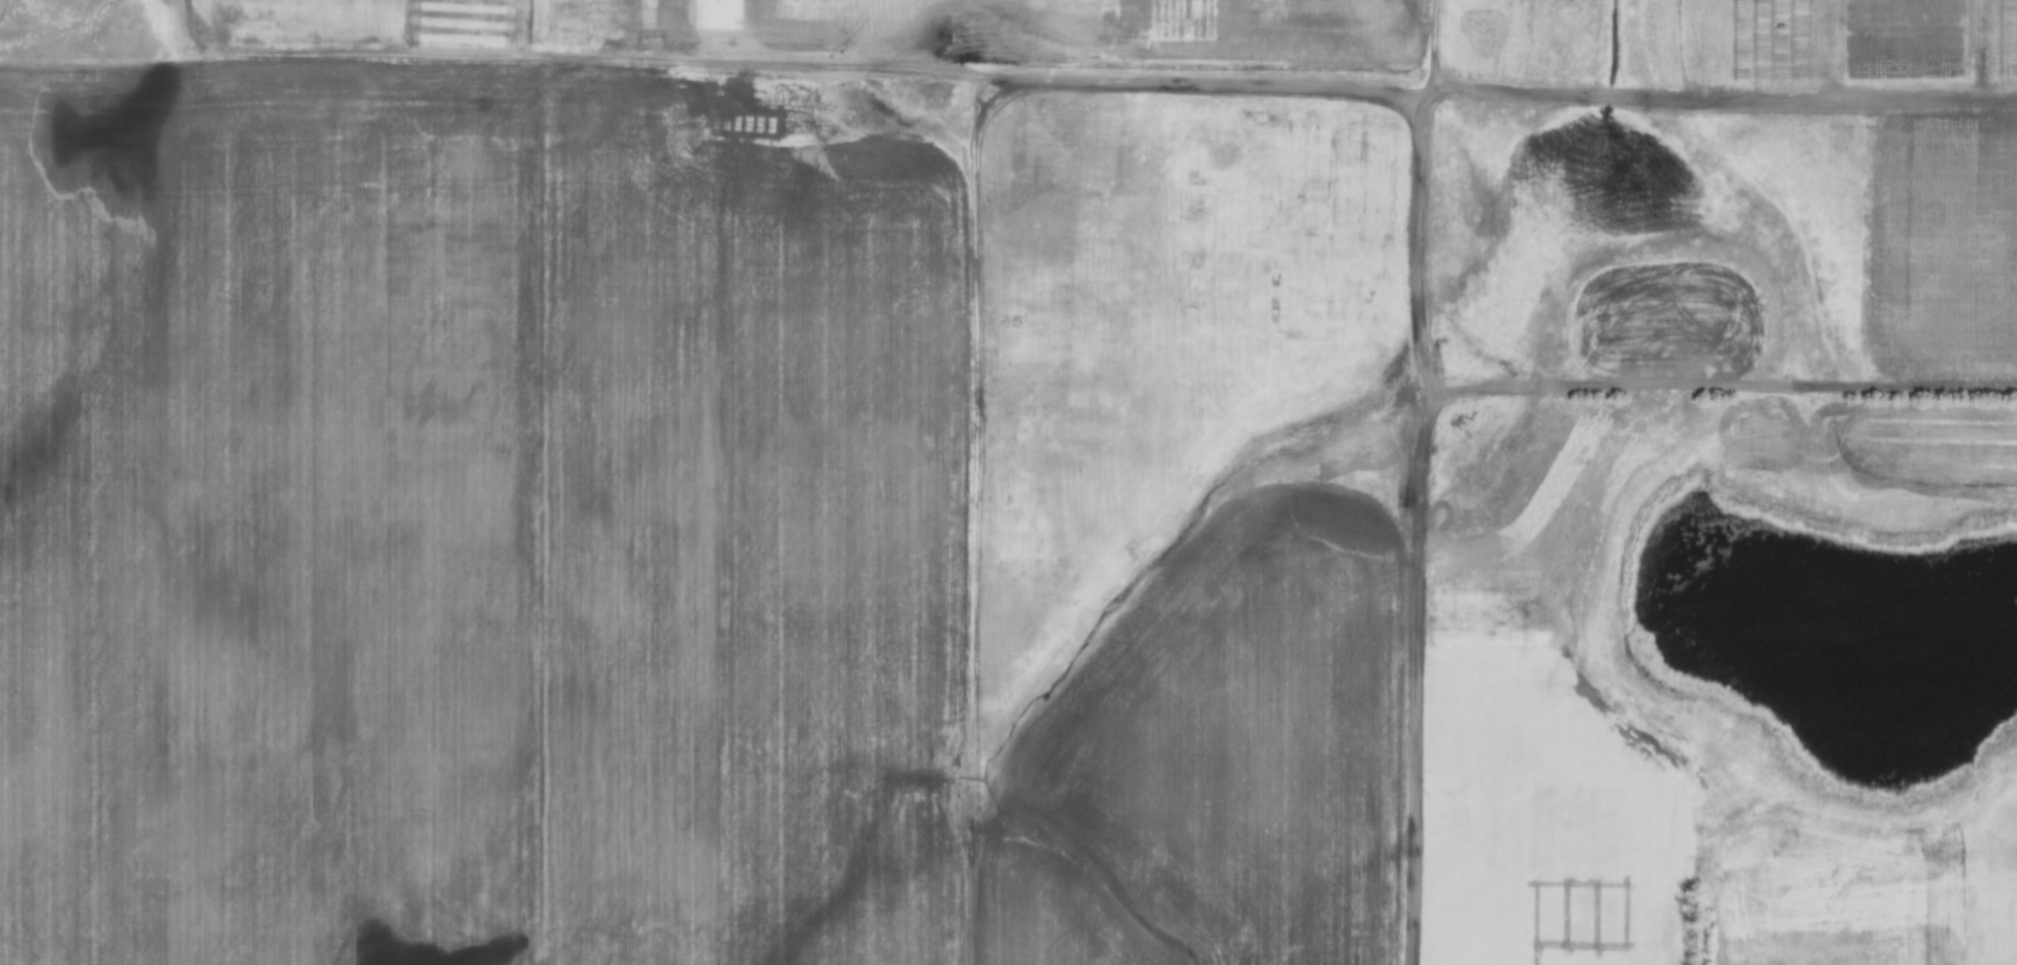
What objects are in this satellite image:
road: (751, 60)
road: (1416, 675)

